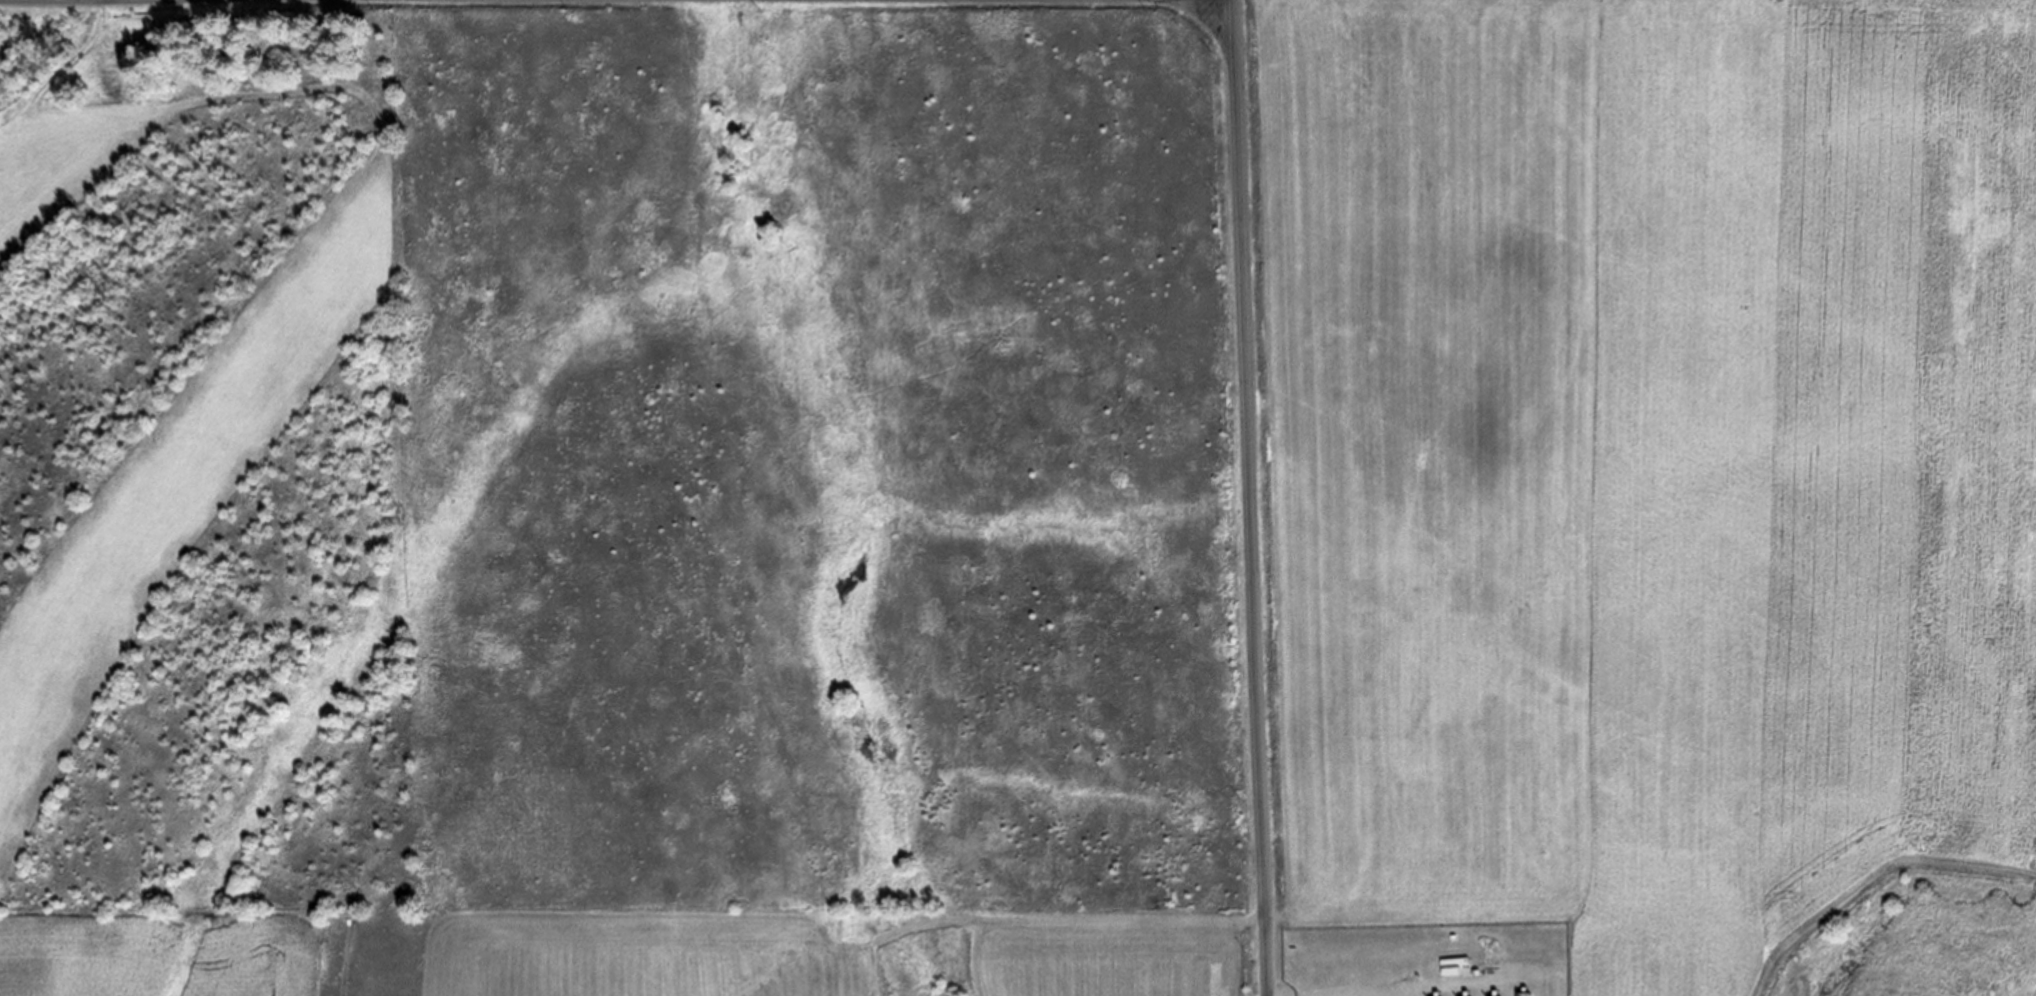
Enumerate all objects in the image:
road: (1252, 497)
road: (1872, 875)
road: (1043, 920)
building: (1525, 994)

